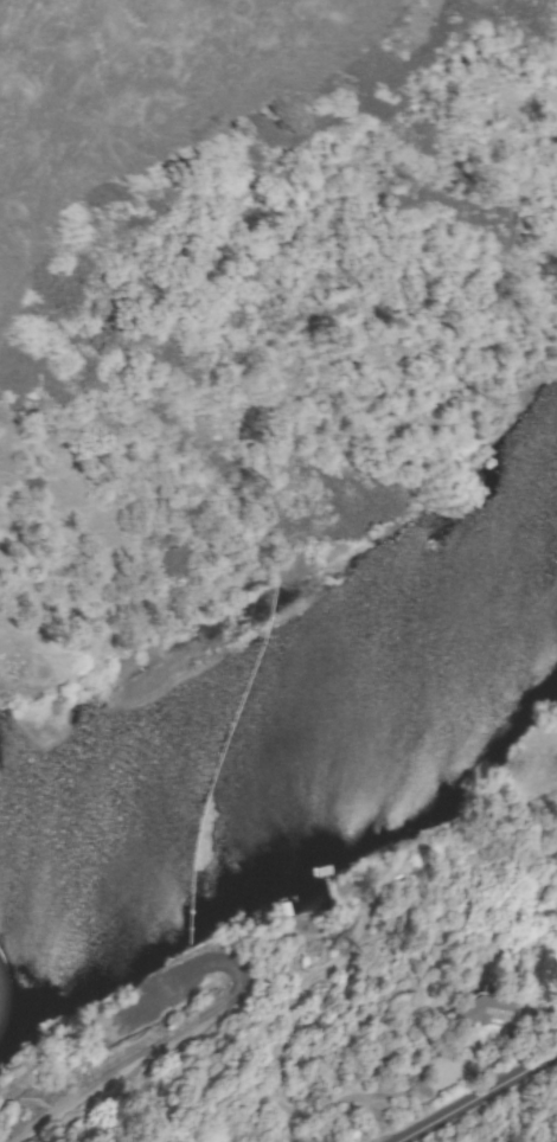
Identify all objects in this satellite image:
building: (482, 1012)
building: (441, 1085)
storage tank: (424, 1092)
road: (497, 1106)

